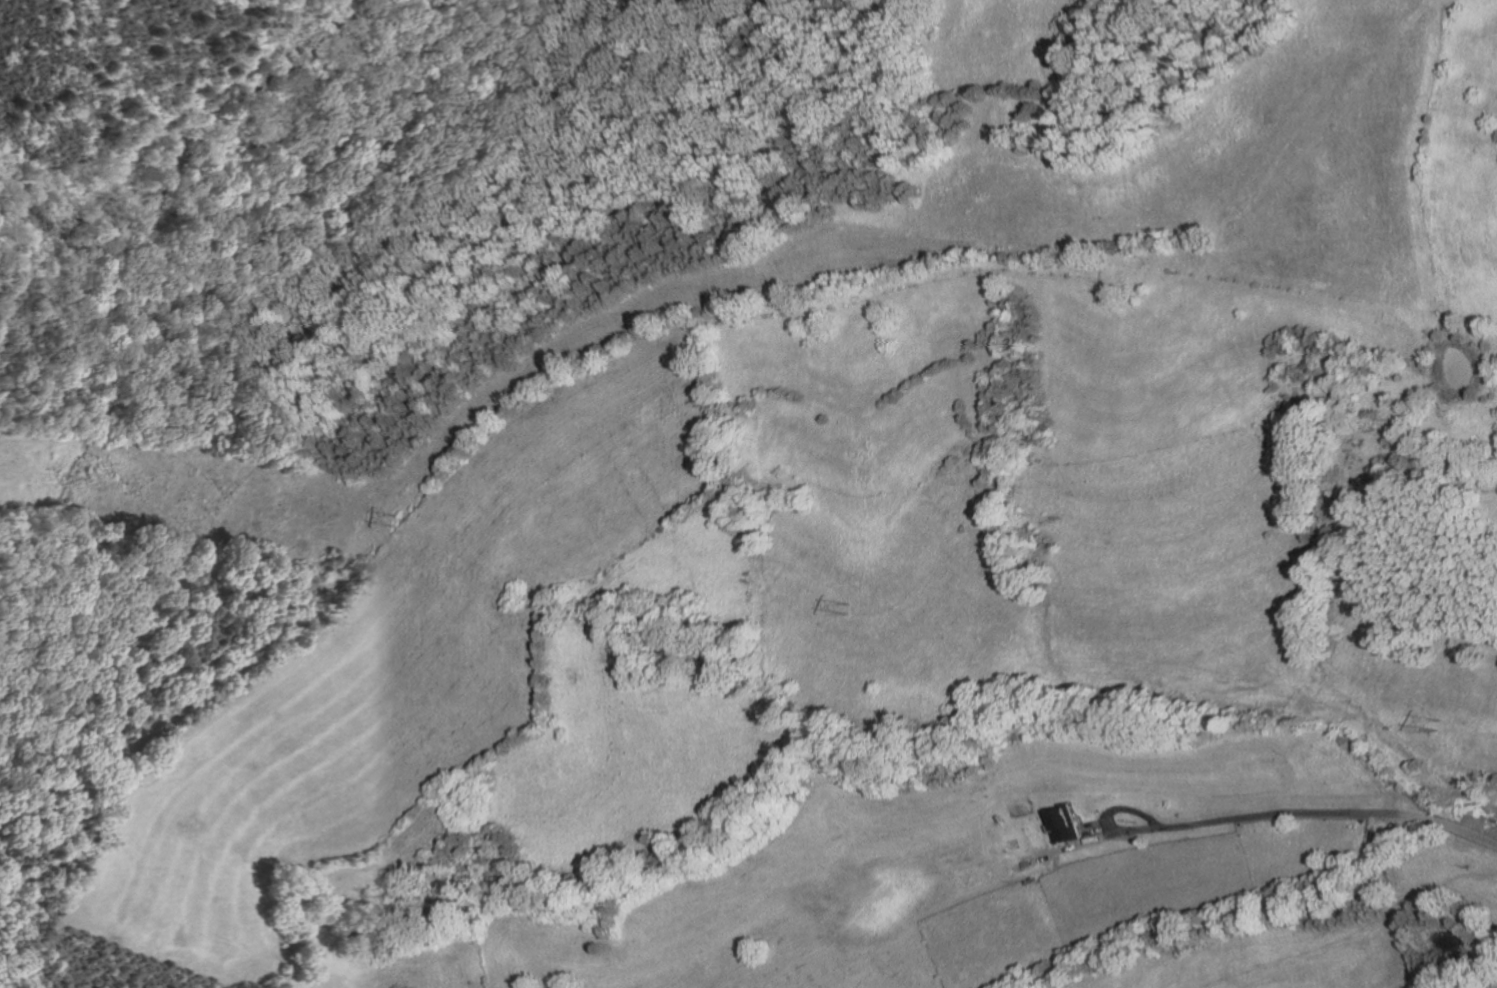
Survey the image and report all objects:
power tower: (399, 520)
power tower: (847, 607)
power tower: (1438, 721)
road: (1134, 809)
road: (1275, 815)
building: (1008, 818)
road: (1086, 823)
building: (1069, 824)
road: (1100, 828)
road: (1486, 982)

